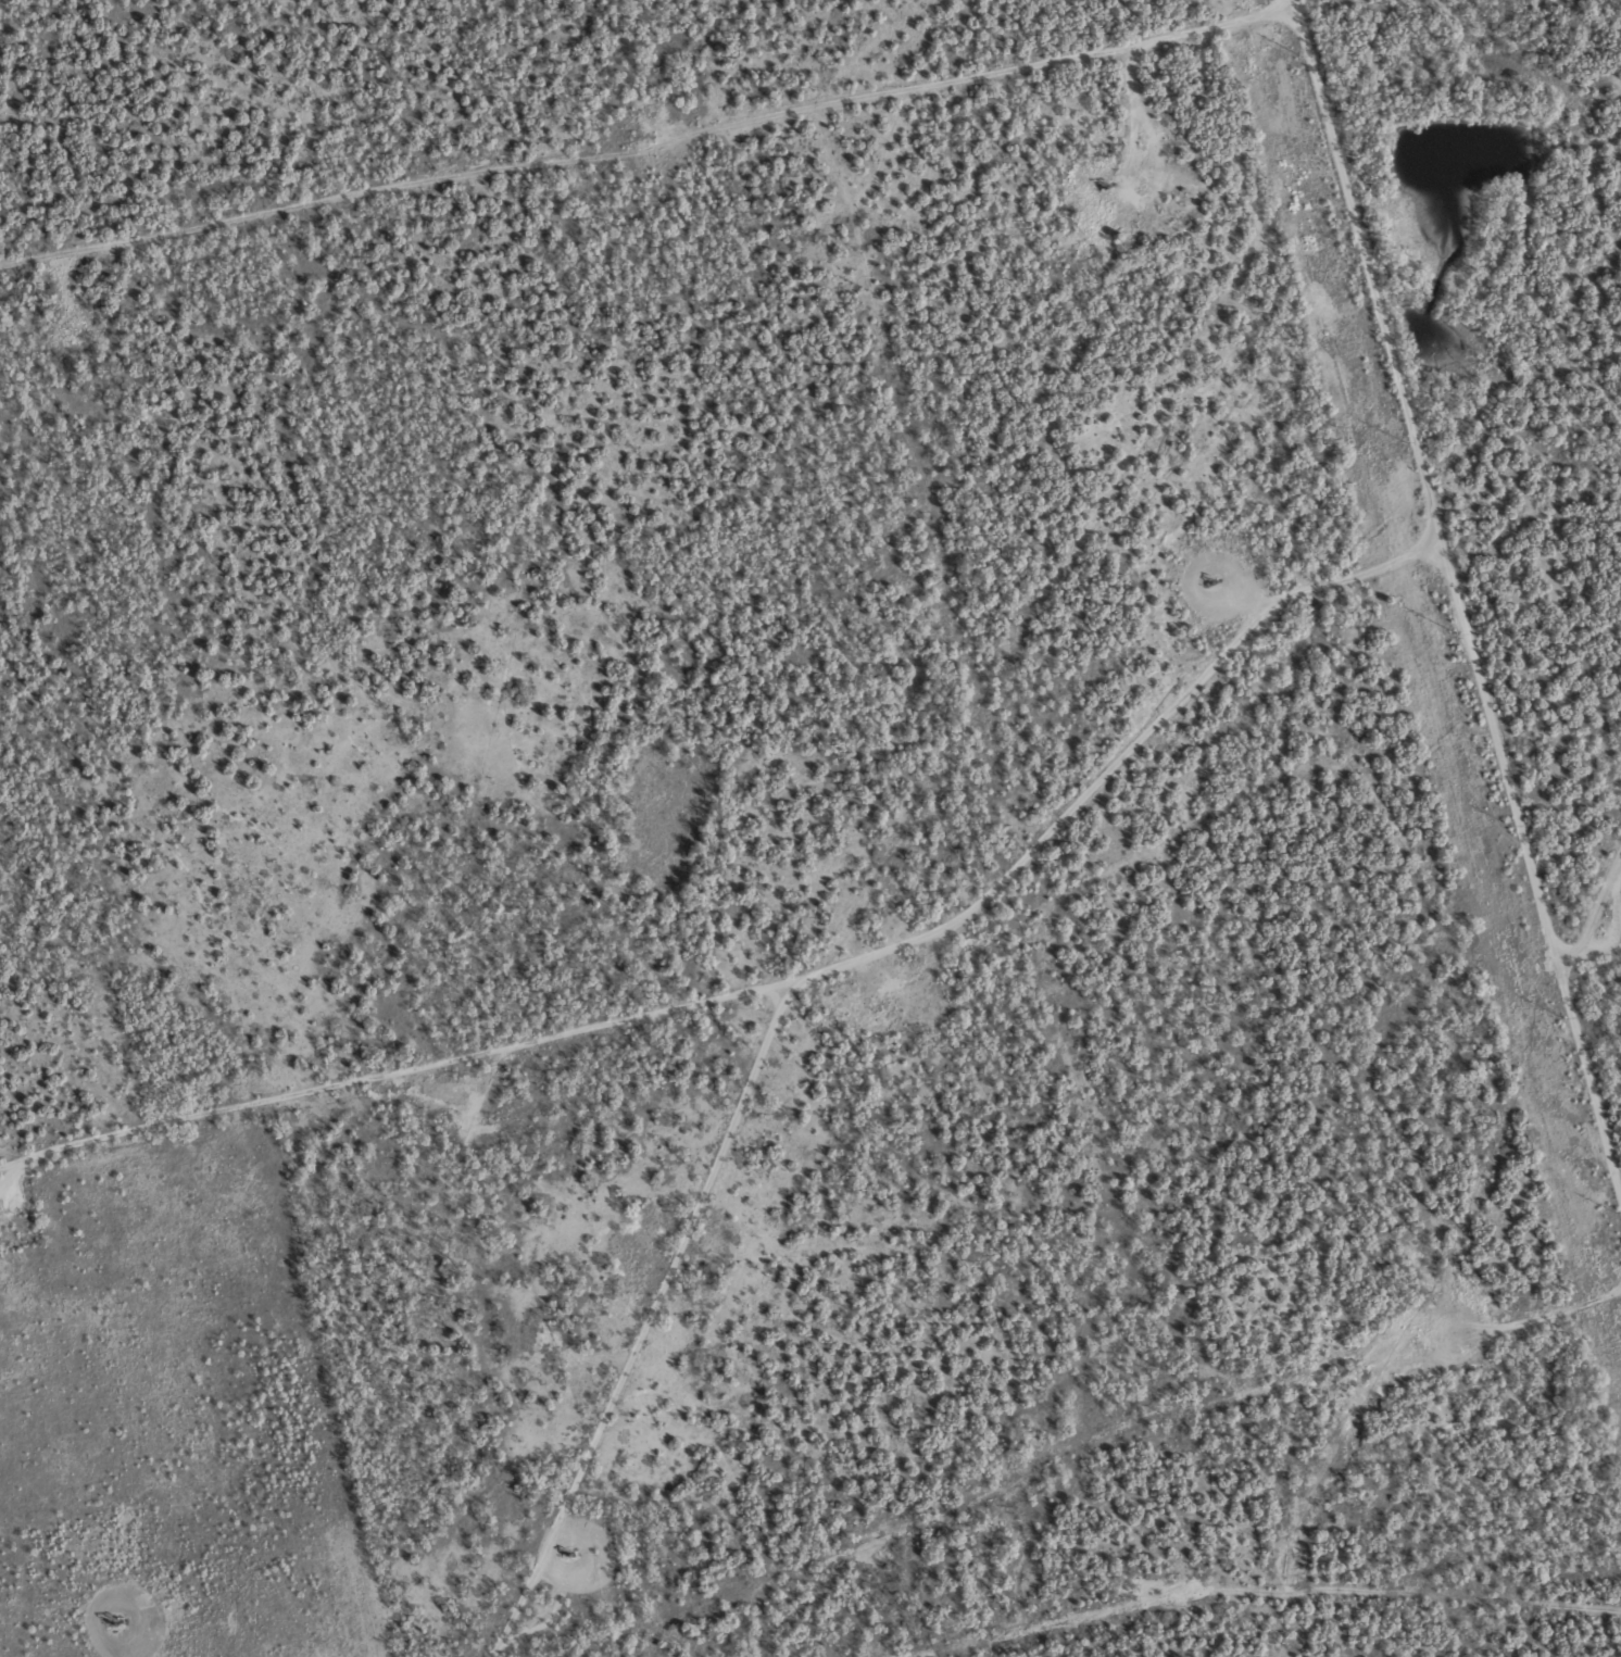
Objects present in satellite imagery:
petroleum well: (1208, 580)
petroleum well: (571, 1549)
petroleum well: (117, 1618)

